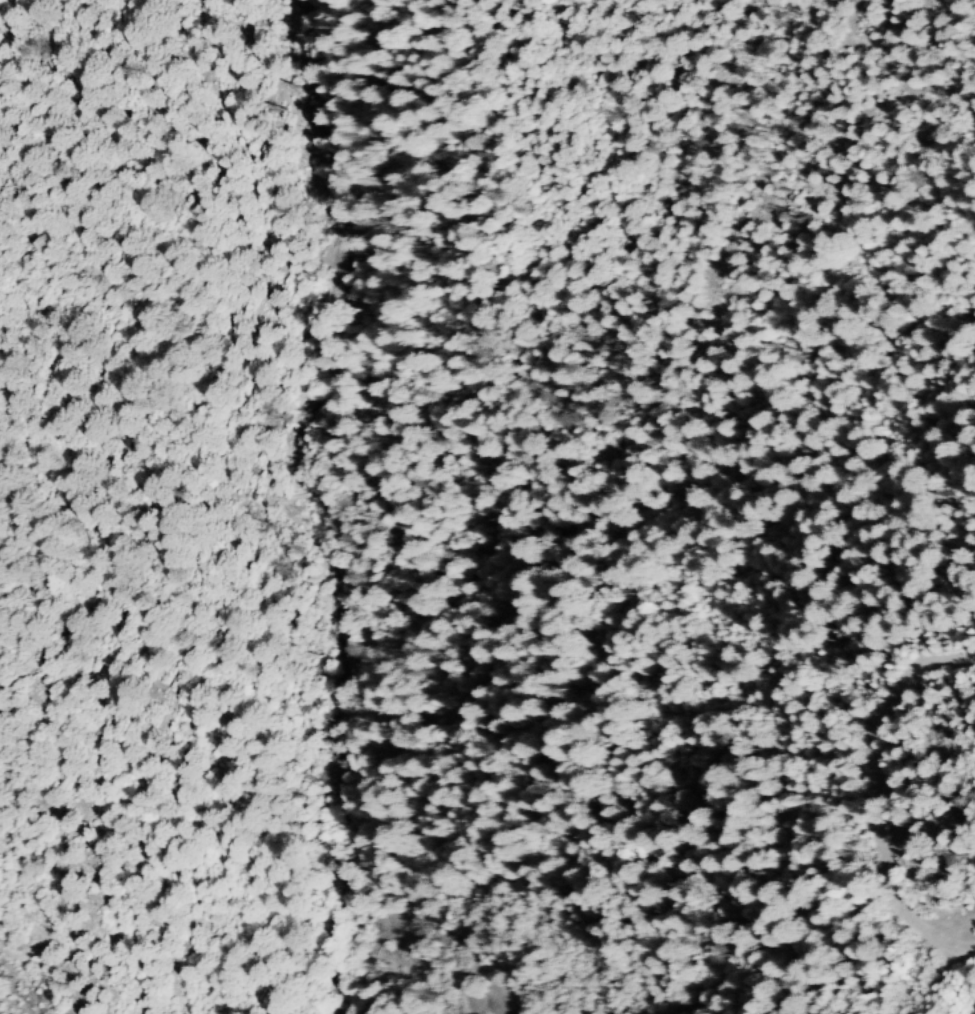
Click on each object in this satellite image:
road: (877, 770)

